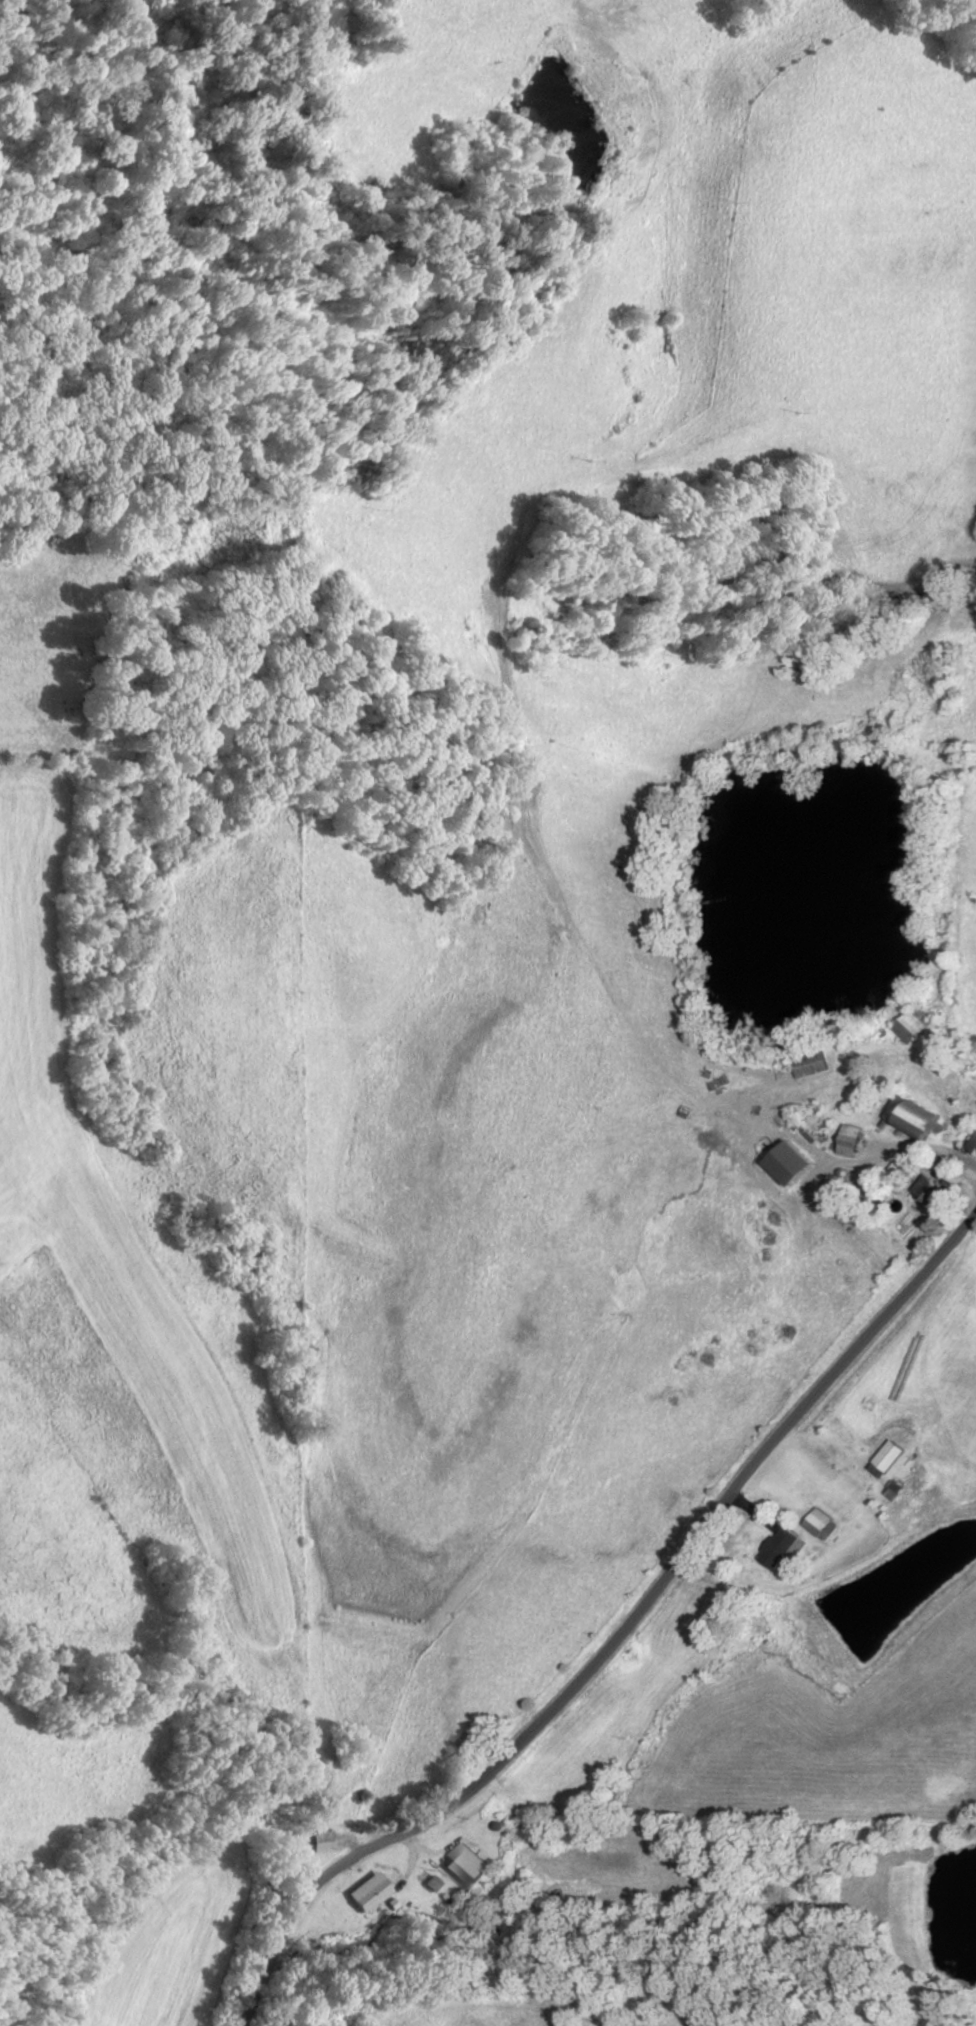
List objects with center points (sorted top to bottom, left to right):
road: (644, 628)
building: (909, 1023)
building: (807, 1064)
building: (908, 1116)
building: (847, 1140)
building: (971, 1145)
building: (787, 1163)
building: (926, 1192)
building: (883, 1459)
building: (818, 1523)
building: (776, 1548)
road: (633, 1607)
building: (318, 1840)
building: (463, 1863)
building: (368, 1895)

